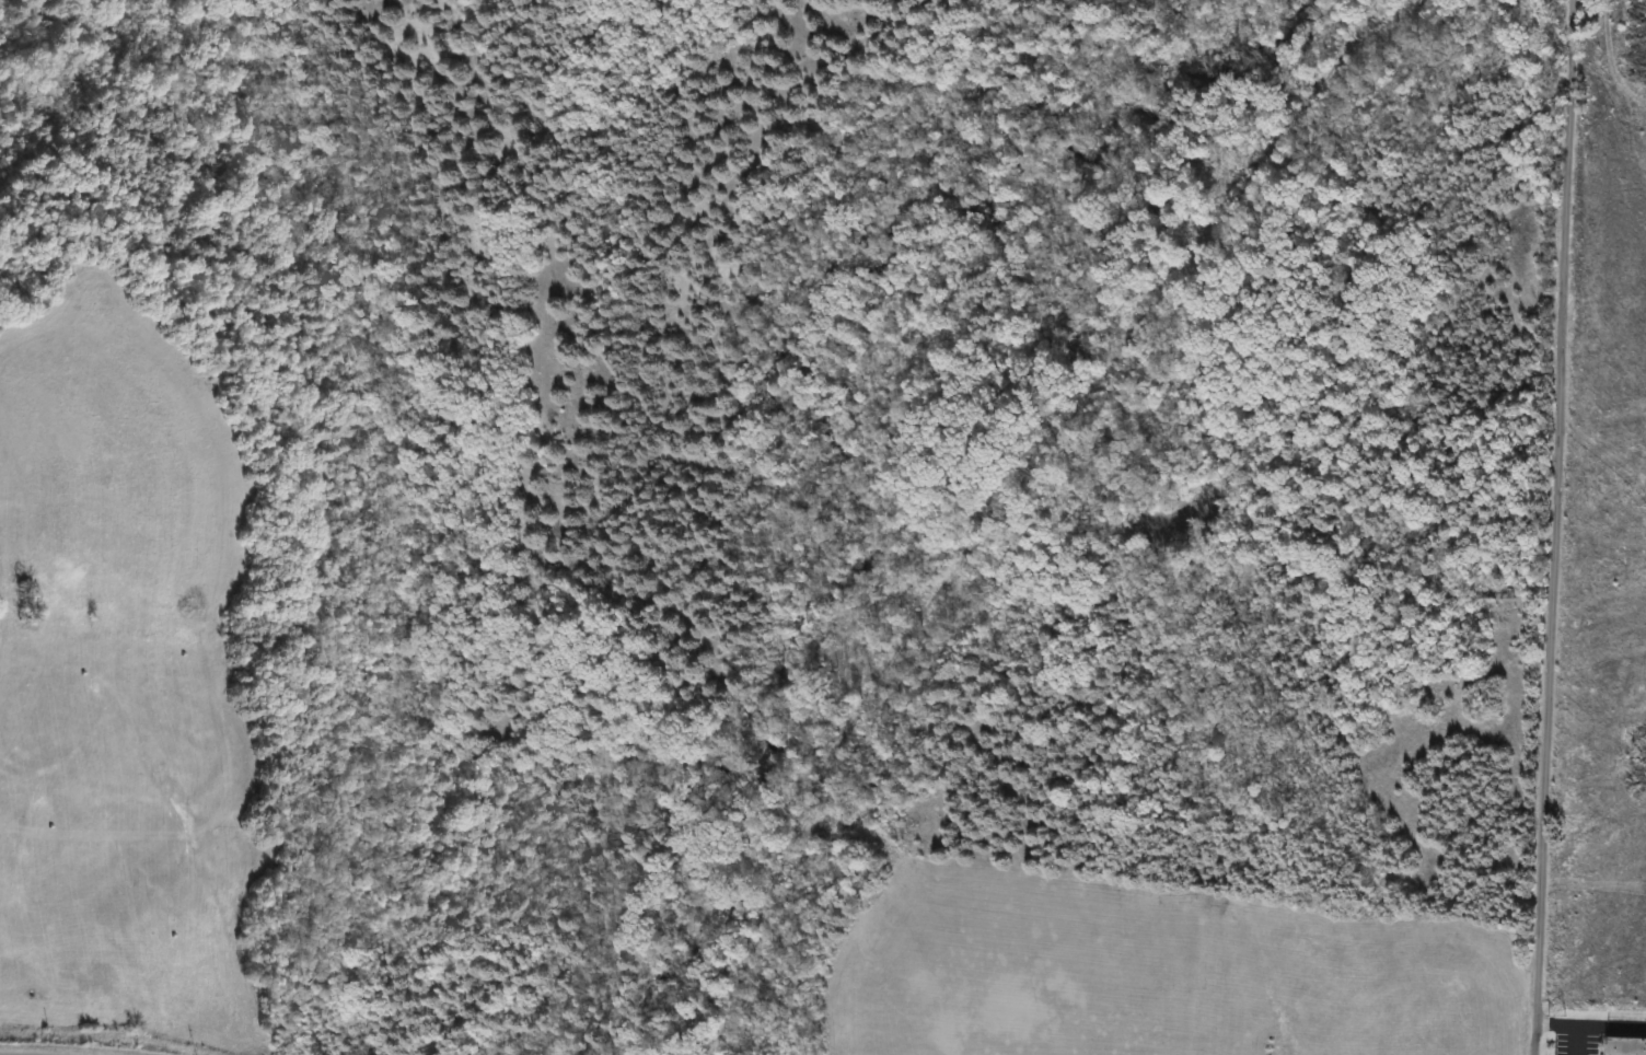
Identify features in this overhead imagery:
road: (1553, 527)
building: (1491, 592)
road: (1566, 1027)
building: (1623, 1046)

